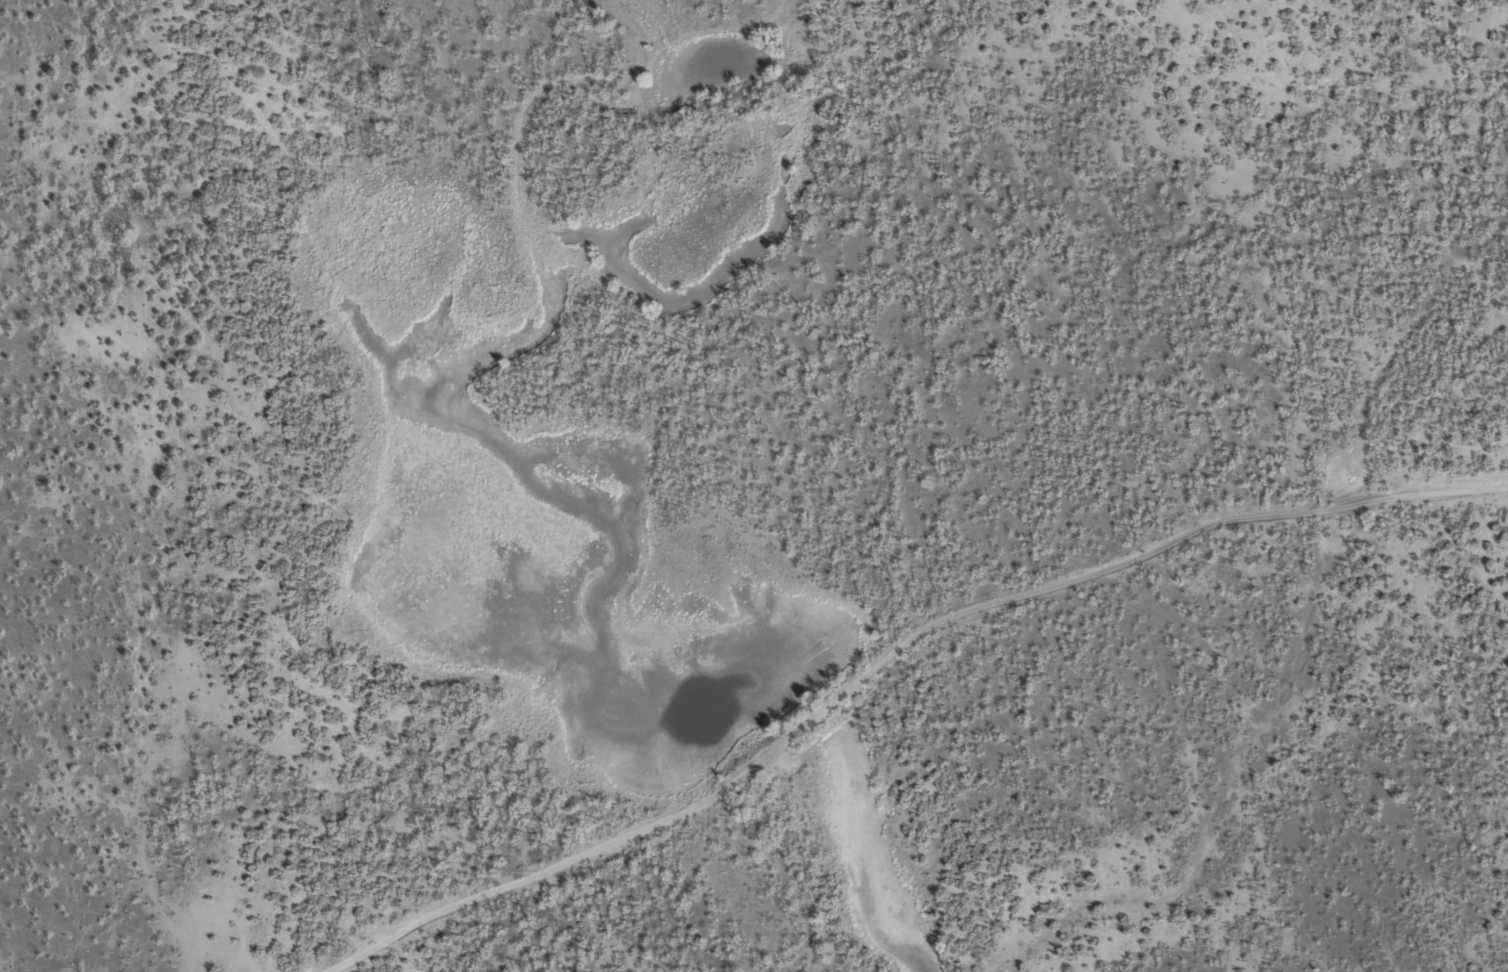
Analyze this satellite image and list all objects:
road: (897, 675)

